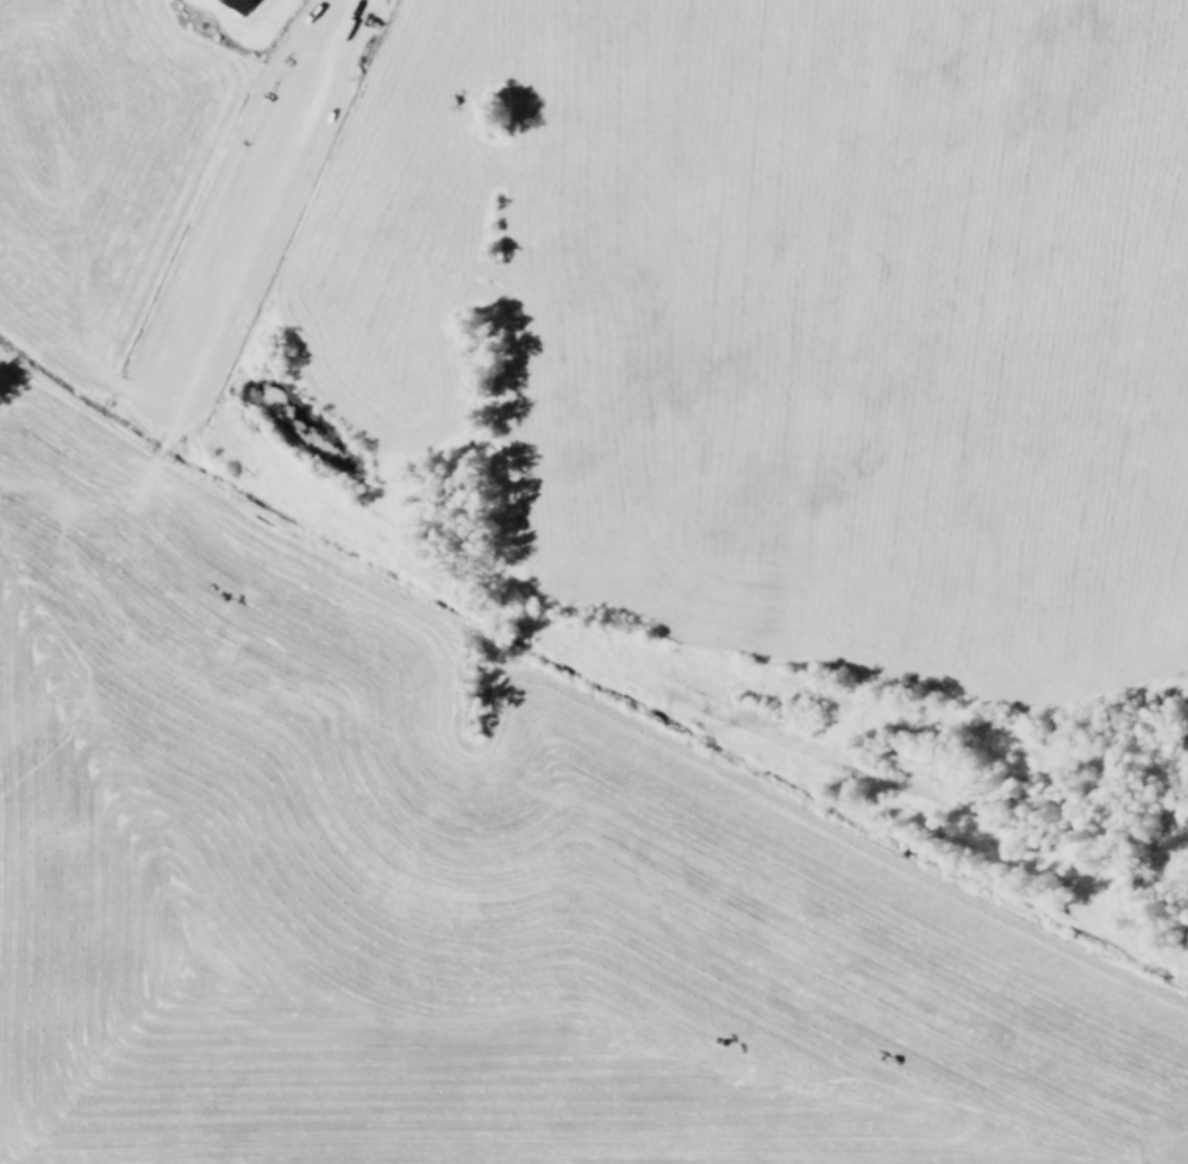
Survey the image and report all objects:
building: (242, 4)
crop: (457, 897)

